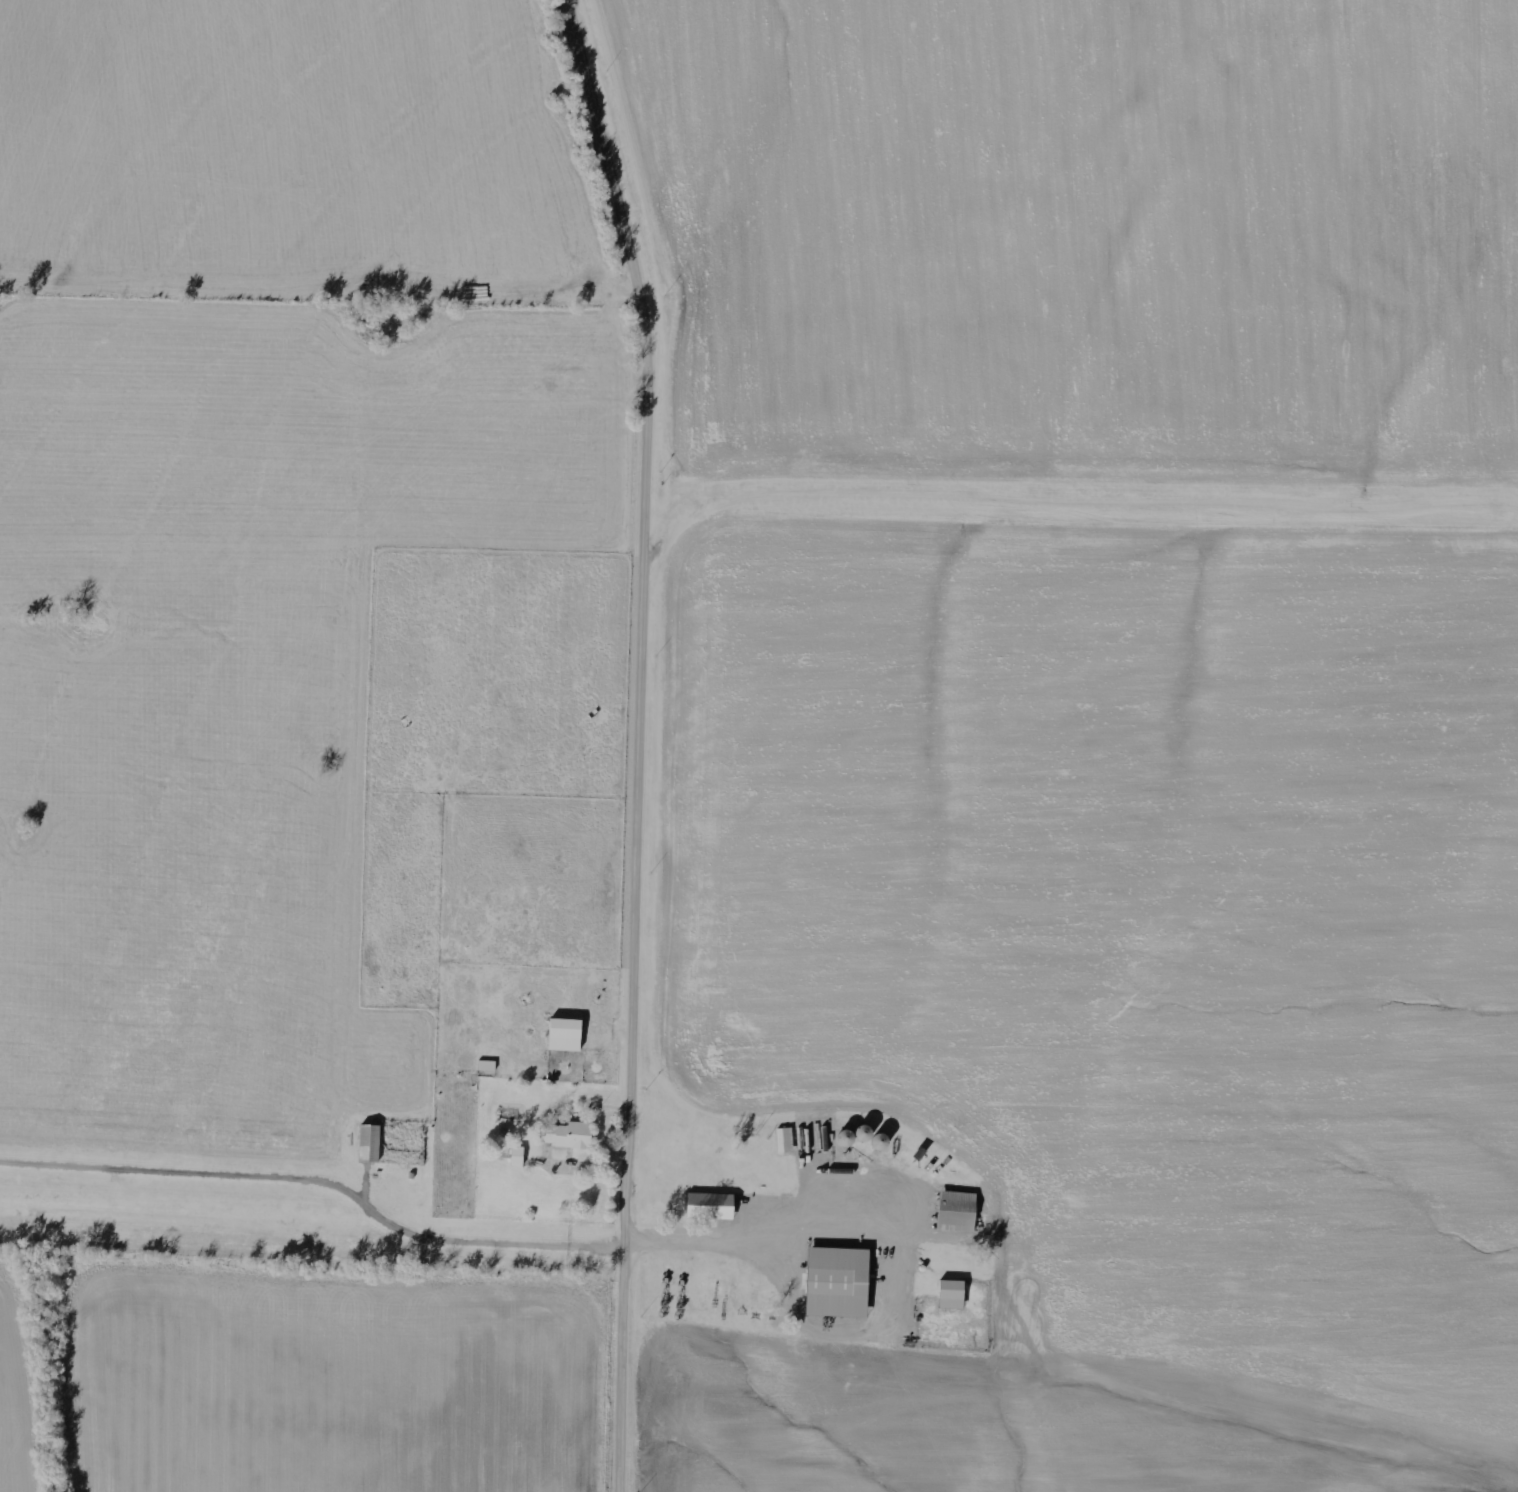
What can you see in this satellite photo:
road: (645, 740)
building: (563, 1035)
building: (486, 1066)
building: (565, 1135)
building: (784, 1140)
building: (367, 1144)
building: (707, 1207)
building: (956, 1210)
road: (897, 1247)
building: (835, 1282)
building: (950, 1295)

